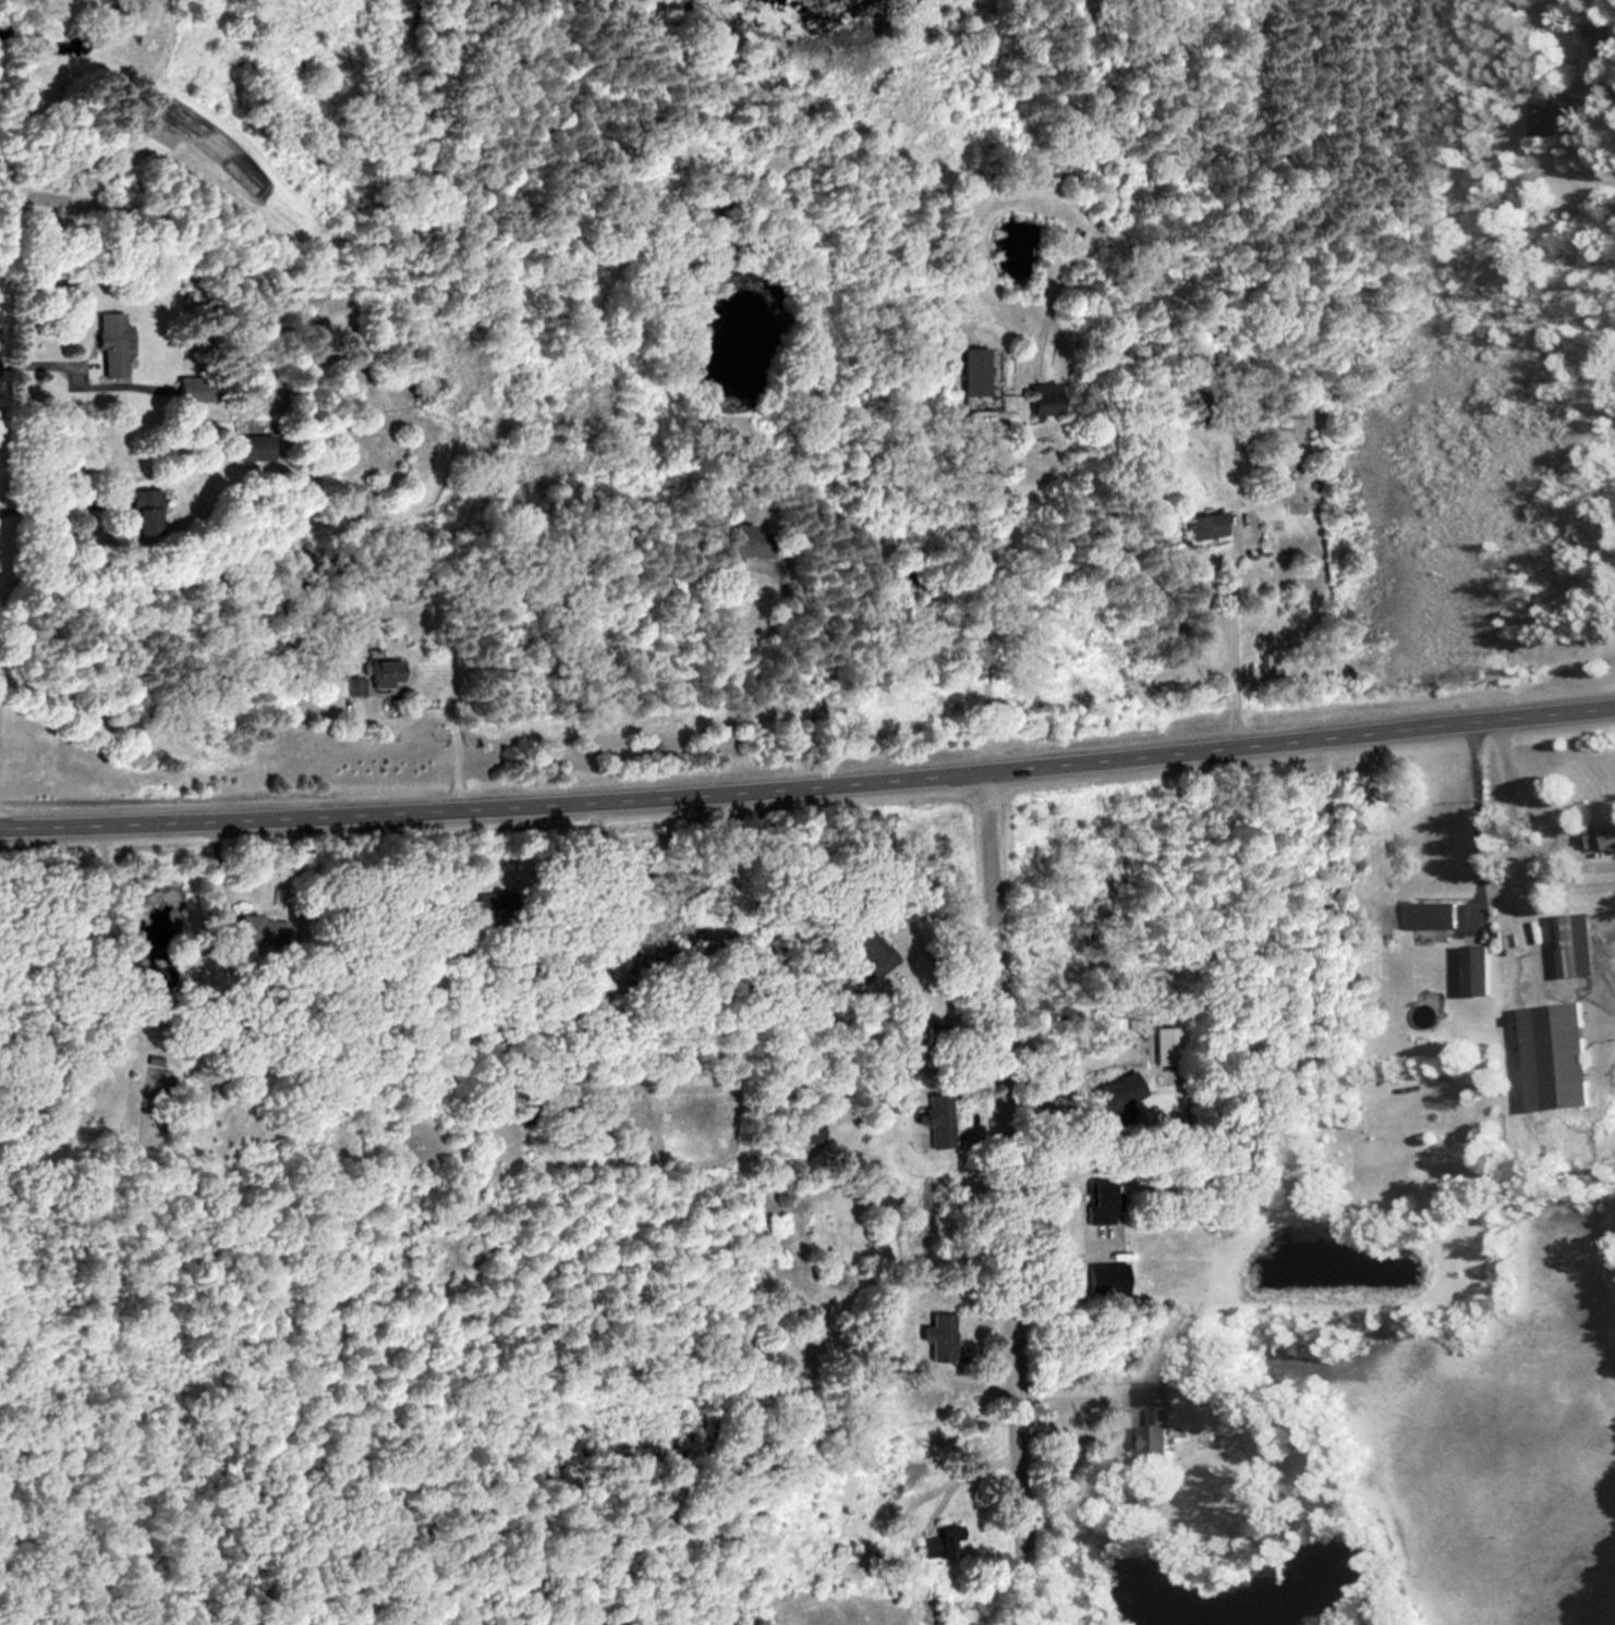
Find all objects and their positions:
building: (111, 343)
building: (967, 371)
building: (185, 389)
building: (1039, 398)
building: (145, 508)
building: (1198, 526)
building: (738, 546)
building: (367, 677)
road: (809, 779)
building: (1599, 834)
building: (1421, 914)
building: (1568, 943)
building: (864, 948)
building: (1471, 967)
building: (1550, 1054)
building: (930, 1119)
road: (1008, 1194)
building: (1092, 1200)
building: (935, 1335)
building: (1152, 1432)
road: (956, 1475)
building: (933, 1543)
building: (829, 1555)

